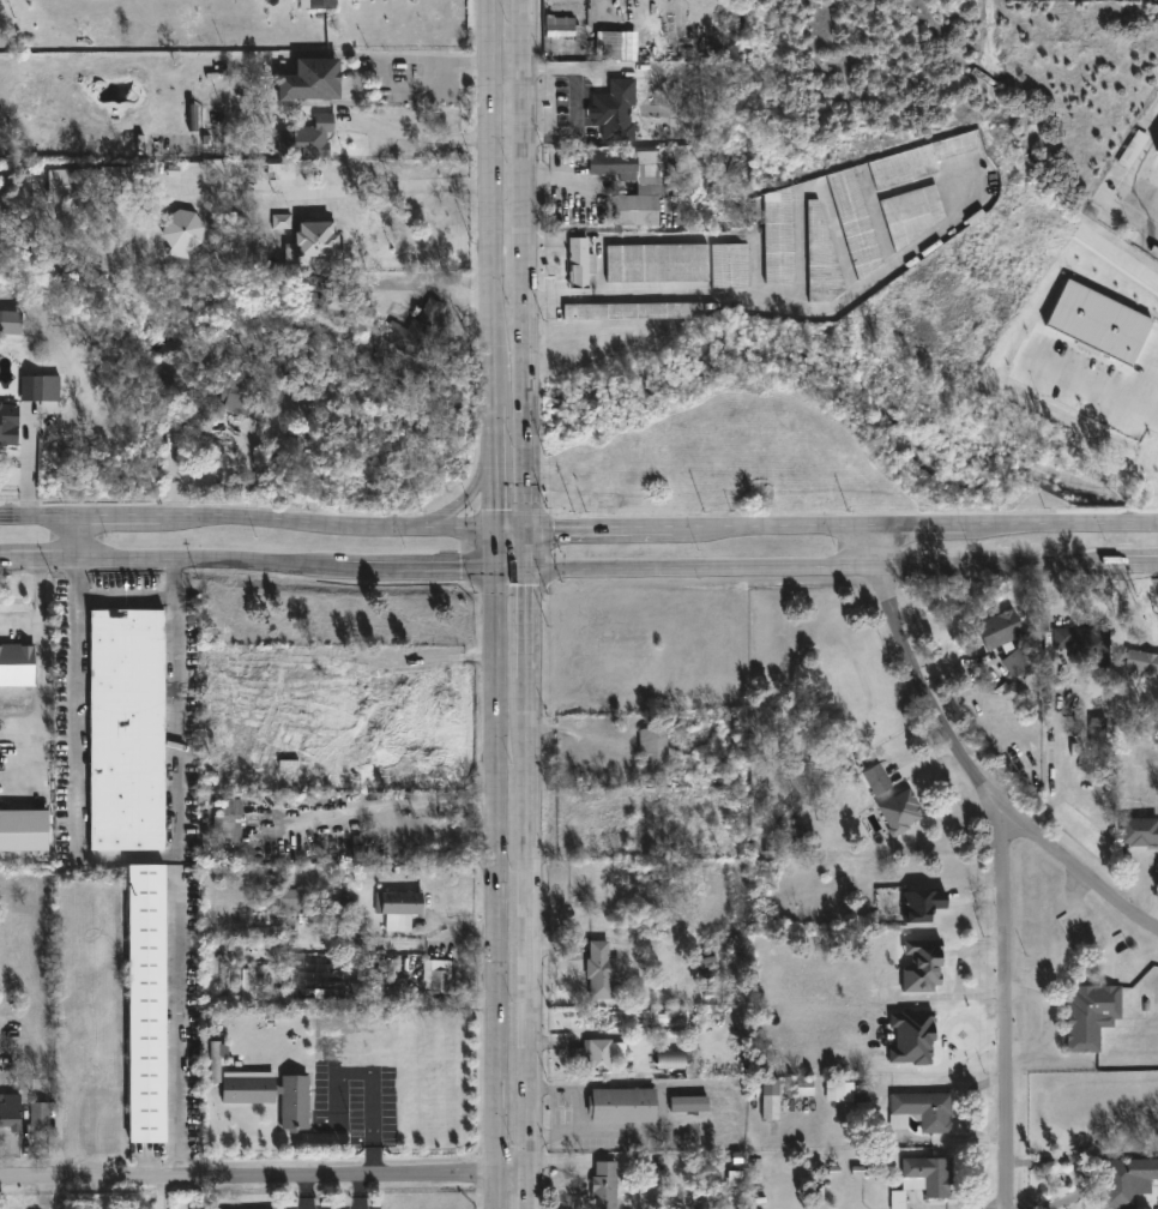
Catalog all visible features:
building: (316, 4)
building: (559, 28)
road: (417, 60)
road: (628, 70)
road: (551, 71)
road: (592, 71)
building: (310, 82)
building: (692, 86)
building: (616, 112)
road: (358, 119)
road: (575, 125)
building: (307, 138)
building: (216, 143)
building: (1133, 150)
building: (917, 161)
building: (279, 172)
building: (114, 178)
road: (409, 181)
building: (67, 184)
building: (647, 185)
road: (1126, 185)
building: (814, 212)
building: (913, 213)
building: (282, 222)
building: (855, 222)
building: (181, 234)
road: (596, 235)
building: (778, 237)
building: (318, 239)
building: (580, 263)
building: (657, 264)
building: (730, 266)
road: (531, 267)
road: (495, 287)
road: (778, 295)
building: (632, 311)
building: (0, 319)
building: (1098, 323)
building: (415, 329)
building: (40, 389)
road: (1098, 390)
road: (1148, 390)
building: (243, 396)
building: (8, 435)
road: (477, 480)
road: (252, 517)
road: (1062, 528)
road: (922, 533)
road: (776, 534)
road: (604, 535)
traffic signals: (503, 536)
road: (519, 536)
traffic signals: (536, 536)
road: (90, 537)
road: (536, 554)
road: (252, 561)
road: (1136, 566)
road: (826, 572)
traffic signals: (503, 573)
road: (520, 573)
traffic signals: (537, 573)
road: (19, 624)
road: (537, 627)
building: (1003, 638)
building: (1086, 645)
building: (1141, 662)
building: (17, 666)
building: (243, 666)
road: (175, 706)
building: (122, 729)
building: (1097, 730)
road: (41, 736)
building: (655, 747)
road: (76, 757)
road: (1067, 762)
road: (969, 765)
building: (877, 777)
building: (903, 812)
building: (225, 823)
building: (1140, 830)
building: (23, 831)
building: (360, 854)
road: (501, 891)
building: (399, 902)
building: (921, 904)
building: (304, 906)
road: (537, 931)
building: (919, 966)
building: (599, 970)
building: (439, 972)
road: (959, 973)
building: (248, 984)
building: (140, 1004)
road: (1006, 1010)
building: (1093, 1015)
building: (661, 1018)
road: (1049, 1019)
road: (179, 1024)
building: (911, 1037)
building: (330, 1045)
building: (595, 1054)
building: (217, 1060)
building: (670, 1061)
building: (804, 1088)
building: (839, 1093)
building: (273, 1096)
building: (772, 1099)
building: (863, 1100)
building: (690, 1103)
building: (623, 1105)
road: (662, 1109)
road: (575, 1111)
building: (923, 1111)
building: (7, 1114)
building: (36, 1115)
road: (1079, 1172)
building: (927, 1177)
road: (269, 1181)
building: (1124, 1181)
building: (605, 1185)
road: (536, 1193)
road: (304, 1196)
road: (362, 1196)
building: (897, 1199)

